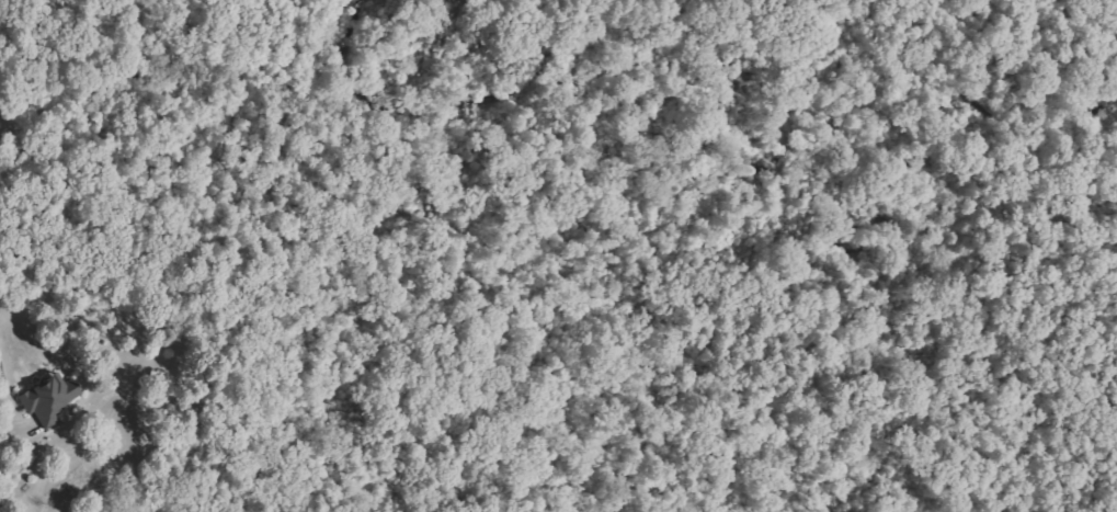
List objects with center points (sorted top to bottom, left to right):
road: (7, 402)

